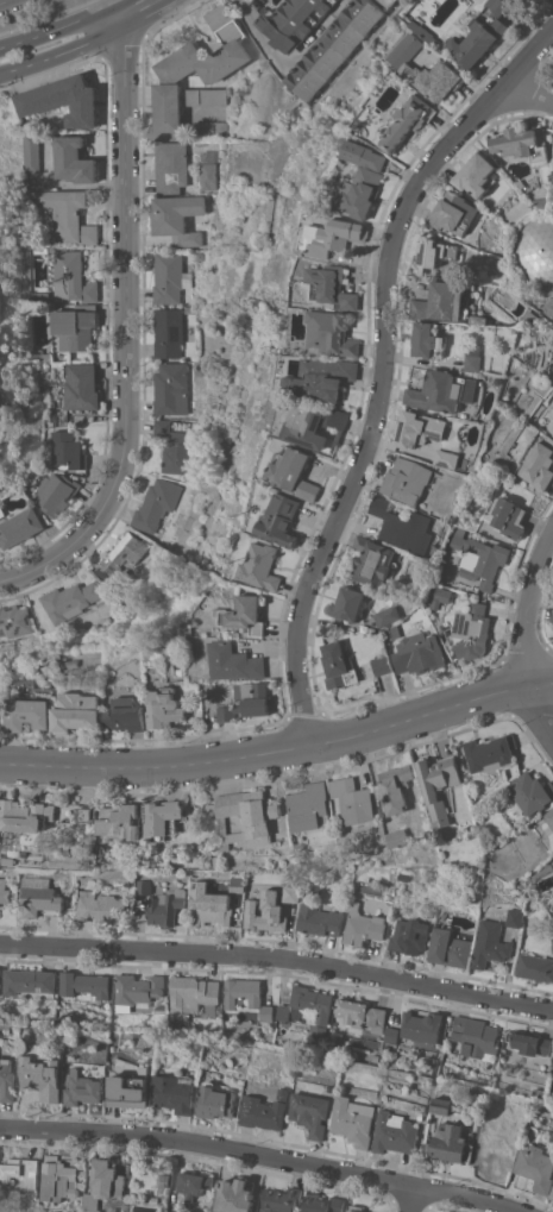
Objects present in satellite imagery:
road: (5, 1)
building: (392, 1)
building: (524, 1)
road: (112, 2)
road: (241, 2)
road: (143, 14)
road: (112, 17)
road: (169, 17)
building: (295, 20)
road: (54, 26)
building: (429, 31)
building: (483, 36)
road: (84, 43)
building: (335, 46)
road: (121, 49)
road: (291, 58)
road: (25, 65)
building: (197, 65)
building: (429, 69)
road: (50, 73)
building: (205, 95)
road: (526, 95)
building: (63, 100)
building: (410, 120)
building: (208, 128)
building: (369, 130)
building: (522, 143)
building: (31, 151)
building: (73, 159)
building: (169, 165)
building: (475, 174)
building: (207, 175)
building: (364, 178)
building: (520, 182)
building: (540, 202)
building: (453, 212)
building: (67, 215)
building: (177, 218)
building: (337, 236)
building: (534, 250)
storage tank: (534, 250)
building: (432, 253)
building: (199, 256)
building: (71, 277)
building: (169, 277)
building: (333, 287)
building: (444, 301)
building: (186, 309)
building: (530, 315)
building: (478, 318)
building: (75, 326)
building: (333, 331)
building: (168, 332)
road: (124, 333)
building: (428, 339)
building: (475, 356)
building: (461, 360)
road: (382, 364)
building: (322, 377)
building: (81, 385)
building: (169, 385)
building: (442, 390)
building: (552, 402)
building: (314, 422)
building: (420, 428)
building: (552, 433)
building: (68, 448)
building: (176, 448)
building: (447, 458)
building: (538, 465)
building: (294, 472)
building: (407, 479)
building: (55, 491)
building: (153, 503)
building: (505, 515)
building: (281, 519)
building: (19, 526)
building: (403, 526)
building: (120, 554)
building: (478, 557)
building: (370, 560)
building: (262, 565)
building: (440, 596)
building: (68, 599)
building: (347, 602)
road: (527, 603)
building: (244, 614)
building: (387, 615)
building: (552, 615)
building: (14, 620)
building: (552, 620)
building: (188, 628)
building: (370, 629)
building: (471, 629)
building: (392, 632)
building: (169, 645)
building: (419, 653)
building: (233, 661)
building: (71, 662)
building: (338, 664)
building: (382, 664)
building: (246, 702)
building: (164, 708)
road: (540, 709)
building: (0, 710)
building: (77, 711)
building: (30, 712)
building: (125, 714)
road: (279, 748)
building: (490, 752)
building: (440, 781)
building: (396, 787)
building: (530, 791)
building: (353, 799)
building: (309, 806)
building: (29, 815)
building: (247, 816)
building: (120, 817)
building: (165, 817)
building: (549, 822)
building: (401, 837)
building: (552, 856)
building: (436, 859)
building: (235, 884)
building: (143, 885)
building: (4, 891)
building: (289, 892)
building: (38, 894)
building: (101, 905)
building: (165, 905)
building: (210, 910)
building: (265, 913)
building: (316, 916)
building: (515, 916)
building: (362, 925)
building: (409, 935)
building: (552, 942)
building: (490, 943)
building: (450, 947)
road: (278, 957)
building: (534, 966)
building: (27, 980)
building: (86, 985)
building: (136, 988)
building: (193, 993)
building: (246, 996)
building: (307, 1005)
building: (360, 1013)
building: (448, 1023)
building: (421, 1025)
building: (390, 1034)
building: (476, 1036)
building: (528, 1042)
building: (387, 1048)
building: (375, 1056)
building: (552, 1057)
building: (162, 1067)
building: (446, 1068)
building: (43, 1075)
building: (7, 1079)
building: (83, 1087)
building: (127, 1092)
building: (175, 1092)
building: (216, 1099)
building: (441, 1104)
building: (265, 1110)
building: (310, 1112)
building: (353, 1119)
building: (396, 1132)
building: (451, 1143)
road: (260, 1156)
building: (536, 1167)
building: (20, 1173)
building: (59, 1179)
building: (103, 1182)
building: (194, 1182)
building: (552, 1194)
building: (234, 1195)
building: (552, 1198)
building: (281, 1199)
road: (410, 1199)
building: (322, 1202)
building: (356, 1207)
building: (172, 1210)

